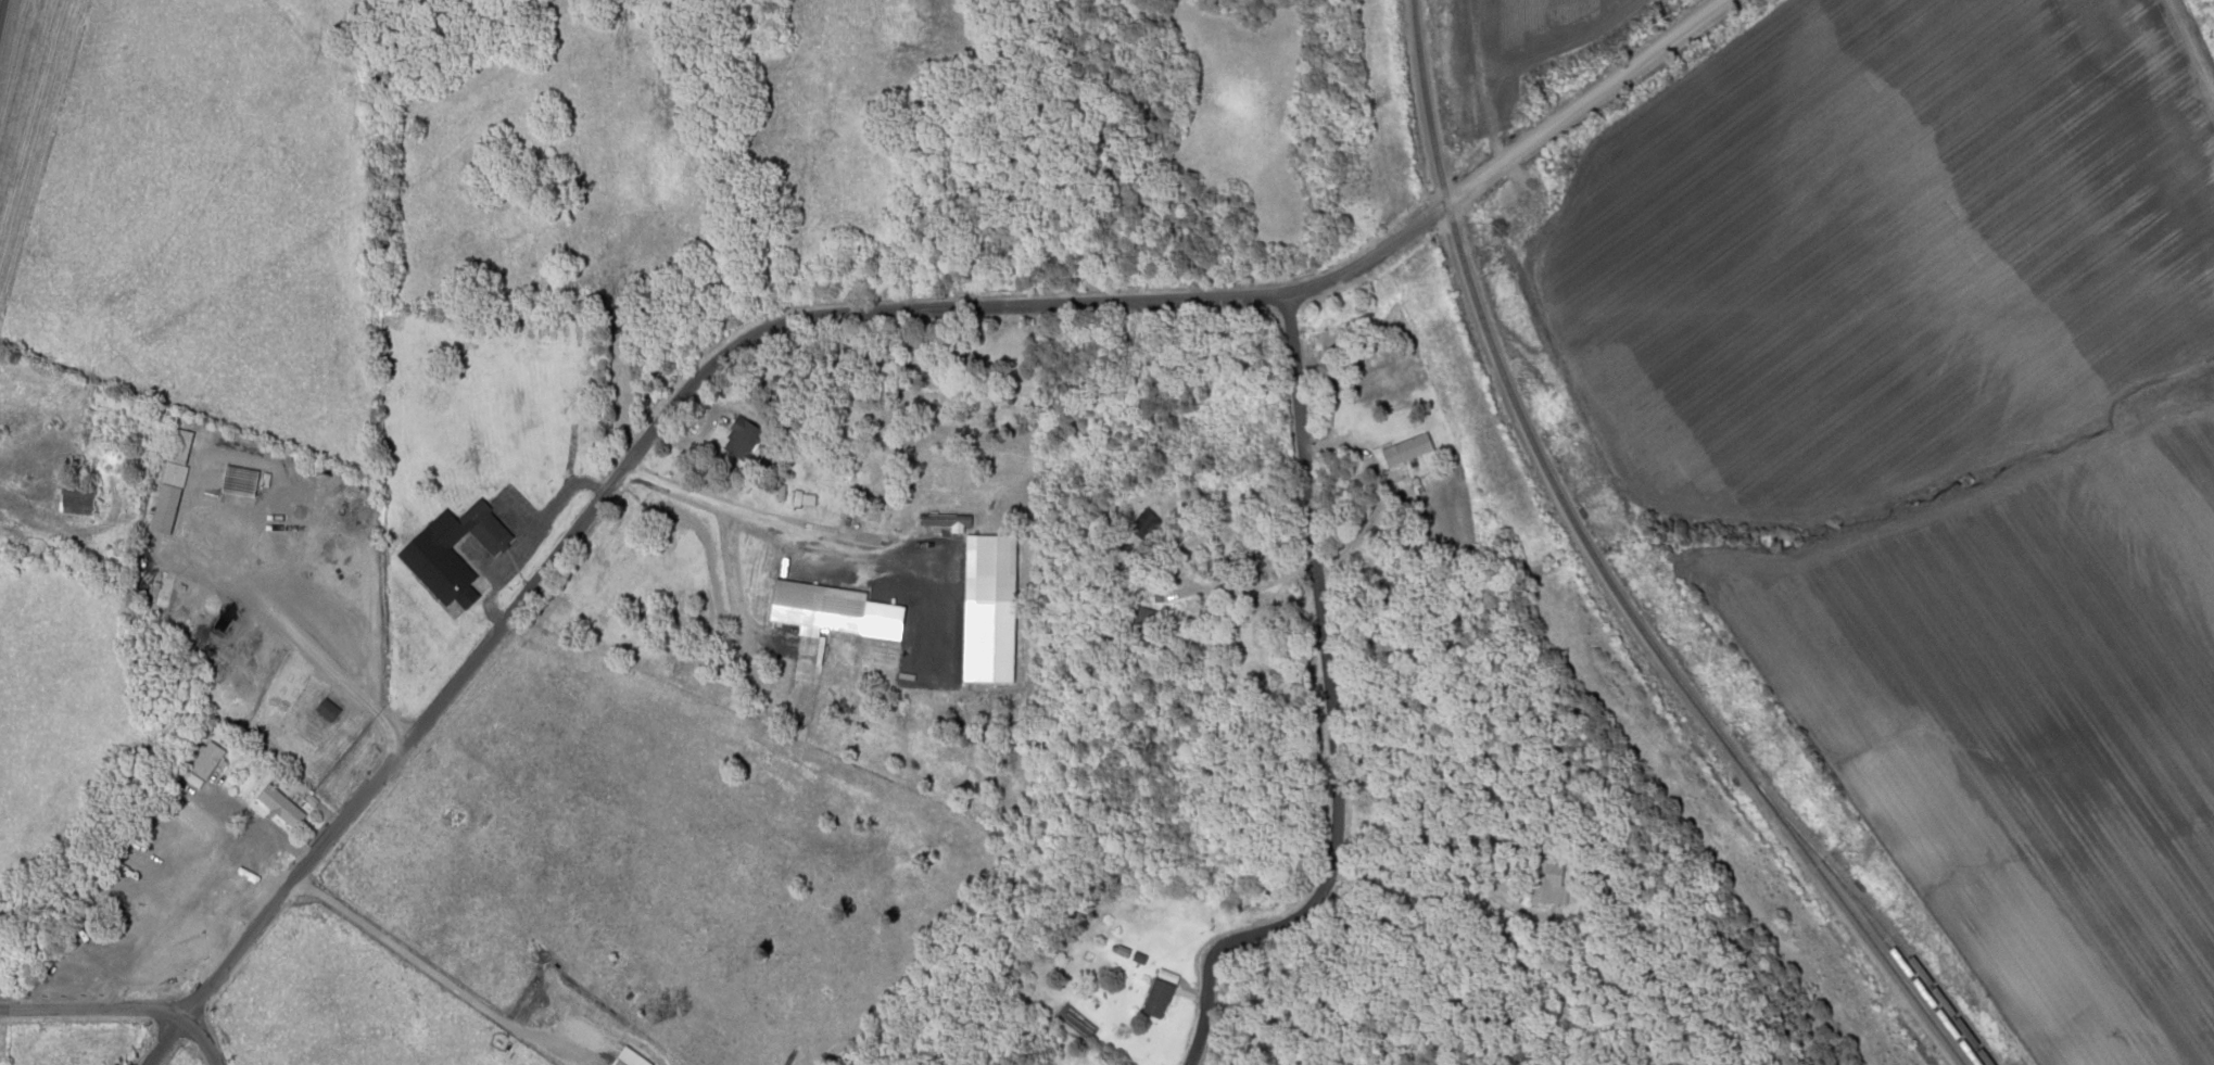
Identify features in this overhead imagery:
road: (1506, 154)
building: (741, 438)
building: (178, 445)
building: (1404, 448)
building: (238, 480)
road: (607, 483)
building: (75, 494)
road: (752, 511)
building: (1140, 520)
building: (192, 540)
building: (451, 551)
road: (212, 572)
railway: (1603, 572)
building: (815, 606)
road: (748, 670)
building: (278, 697)
building: (326, 709)
road: (1325, 714)
building: (202, 763)
building: (279, 804)
building: (190, 816)
building: (1547, 882)
road: (429, 969)
building: (1156, 998)
road: (122, 1007)
building: (616, 1062)

